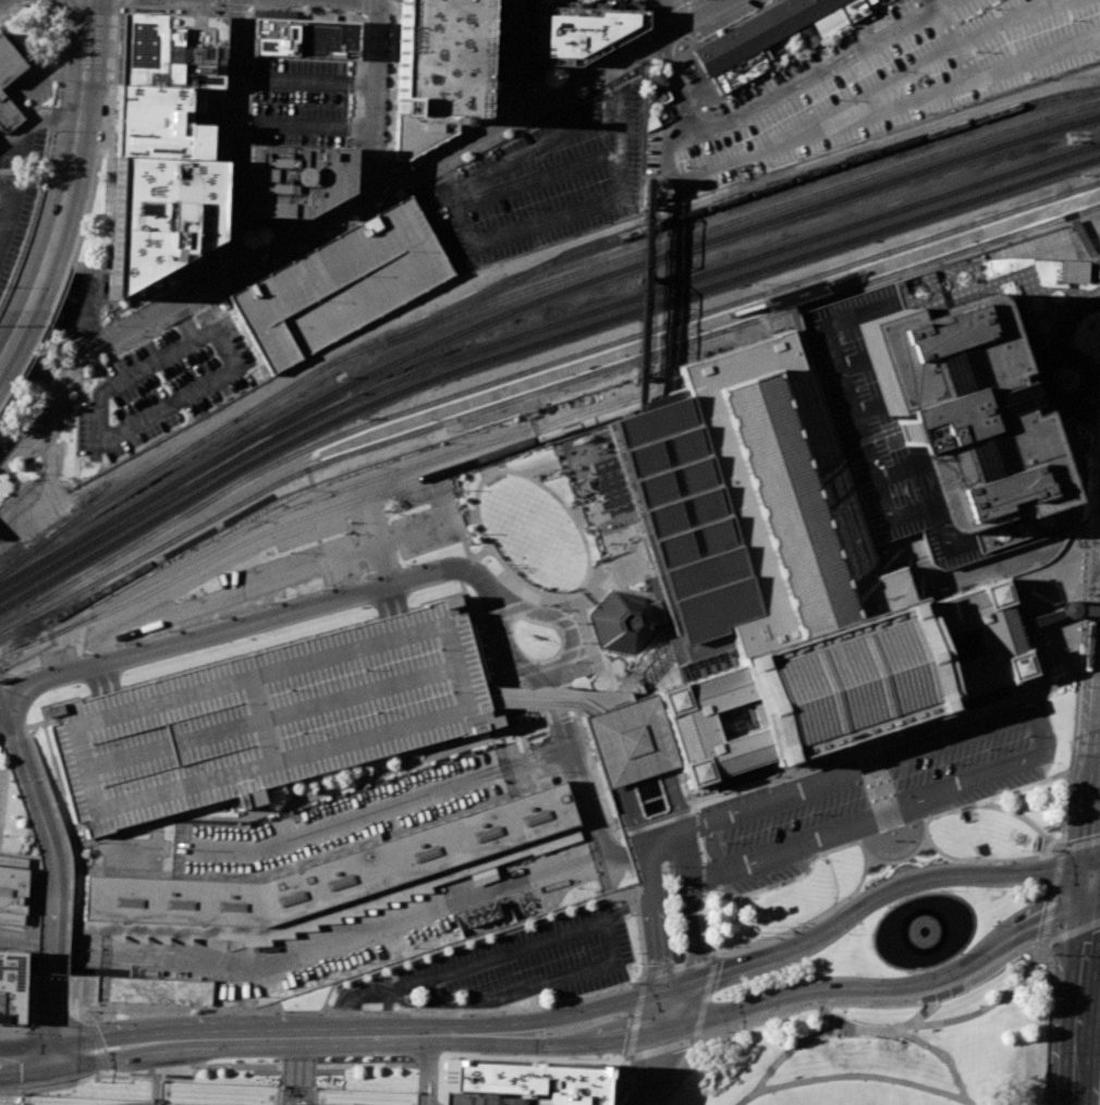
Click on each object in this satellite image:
road: (363, 0)
road: (26, 1)
road: (60, 1)
road: (27, 2)
street lamp: (127, 3)
road: (694, 3)
road: (120, 4)
road: (224, 4)
road: (171, 7)
street lamp: (213, 8)
road: (236, 8)
road: (364, 8)
street lamp: (993, 9)
road: (306, 12)
street lamp: (350, 13)
street lamp: (117, 14)
street lamp: (249, 15)
road: (667, 15)
road: (668, 16)
parking lot: (725, 19)
street lamp: (1071, 20)
street lamp: (225, 21)
building: (828, 21)
road: (877, 22)
road: (681, 23)
street lamp: (394, 25)
road: (878, 29)
street lamp: (367, 30)
building: (582, 33)
road: (883, 33)
street lamp: (641, 37)
building: (759, 38)
road: (952, 38)
building: (305, 40)
road: (647, 42)
road: (834, 46)
road: (660, 50)
street lamp: (974, 51)
building: (169, 52)
road: (604, 52)
road: (835, 52)
road: (818, 54)
street lamp: (393, 56)
road: (518, 56)
road: (842, 57)
street lamp: (1098, 58)
road: (819, 61)
building: (10, 63)
street lamp: (249, 63)
street lamp: (649, 63)
road: (826, 65)
building: (438, 72)
street lamp: (1028, 77)
road: (674, 82)
street lamp: (223, 83)
street lamp: (392, 84)
street lamp: (551, 84)
parking lot: (870, 84)
road: (953, 84)
street lamp: (589, 86)
street lamp: (248, 88)
road: (392, 89)
road: (527, 95)
road: (378, 96)
street lamp: (570, 97)
road: (57, 99)
road: (360, 102)
parking lot: (302, 105)
road: (81, 107)
street lamp: (363, 107)
street lamp: (247, 112)
street lamp: (391, 112)
street lamp: (910, 112)
building: (8, 113)
street lamp: (537, 115)
road: (512, 116)
road: (35, 118)
chimney: (445, 118)
road: (641, 119)
street lamp: (523, 122)
building: (160, 124)
street lamp: (479, 125)
street lamp: (51, 130)
road: (233, 136)
road: (450, 138)
street lamp: (493, 139)
road: (102, 142)
street lamp: (389, 142)
street lamp: (241, 146)
street lamp: (475, 150)
street lamp: (455, 160)
road: (398, 162)
street lamp: (411, 163)
street lamp: (219, 168)
street lamp: (241, 168)
street lamp: (363, 170)
road: (698, 173)
street lamp: (1099, 174)
helipad: (297, 176)
building: (295, 179)
road: (375, 179)
road: (398, 180)
street lamp: (417, 184)
building: (649, 191)
street lamp: (240, 195)
railway: (736, 197)
street lamp: (1090, 198)
road: (106, 199)
road: (362, 199)
street lamp: (390, 200)
road: (353, 205)
railway: (1003, 208)
street lamp: (364, 213)
street lamp: (88, 216)
building: (159, 218)
road: (300, 220)
street lamp: (304, 220)
road: (272, 224)
street lamp: (346, 224)
road: (10, 228)
street lamp: (241, 236)
street lamp: (321, 237)
street lamp: (219, 241)
street lamp: (954, 245)
road: (21, 249)
road: (1047, 251)
street lamp: (289, 255)
railway: (939, 258)
road: (229, 260)
road: (247, 262)
street lamp: (267, 267)
building: (1068, 271)
street lamp: (203, 277)
street lamp: (1096, 279)
road: (233, 282)
building: (343, 285)
parking lot: (343, 285)
street lamp: (4, 286)
road: (35, 287)
railway: (526, 288)
street lamp: (210, 298)
parking lot: (85, 302)
railway: (529, 303)
road: (1061, 307)
road: (633, 309)
road: (86, 317)
road: (183, 320)
street lamp: (162, 324)
street lamp: (118, 326)
railway: (533, 330)
street lamp: (139, 336)
road: (88, 337)
road: (37, 342)
railway: (533, 343)
street lamp: (117, 349)
street lamp: (213, 354)
road: (1053, 357)
road: (1043, 364)
railway: (534, 368)
road: (33, 373)
street lamp: (162, 383)
parking lot: (161, 385)
street lamp: (47, 396)
road: (847, 400)
street lamp: (5, 401)
building: (955, 410)
street lamp: (111, 414)
road: (133, 423)
street lamp: (1092, 433)
road: (1056, 438)
building: (880, 441)
parking garage: (880, 441)
street lamp: (1, 444)
railway: (377, 444)
railway: (317, 451)
road: (10, 453)
road: (563, 458)
road: (537, 467)
street lamp: (530, 476)
railway: (351, 487)
road: (477, 490)
road: (400, 492)
railway: (1093, 495)
road: (608, 496)
railway: (334, 506)
street lamp: (398, 515)
parking lot: (420, 517)
road: (572, 517)
street lamp: (583, 529)
street lamp: (464, 531)
street lamp: (342, 533)
road: (486, 544)
road: (491, 544)
road: (246, 548)
road: (583, 548)
street lamp: (288, 551)
road: (472, 557)
street lamp: (405, 564)
street lamp: (508, 565)
street lamp: (590, 567)
parking lot: (293, 569)
railway: (1091, 569)
street lamp: (229, 570)
road: (466, 570)
road: (1083, 574)
street lamp: (360, 576)
road: (610, 577)
road: (273, 579)
road: (394, 584)
street lamp: (537, 587)
street lamp: (316, 589)
building: (775, 589)
road: (400, 597)
street lamp: (175, 600)
road: (576, 600)
street lamp: (265, 603)
road: (377, 603)
street lamp: (539, 604)
street lamp: (559, 610)
road: (1056, 612)
street lamp: (215, 616)
railway: (1081, 618)
road: (561, 621)
building: (624, 621)
street lamp: (574, 622)
street lamp: (163, 630)
street lamp: (579, 641)
street lamp: (119, 643)
road: (580, 653)
street lamp: (78, 654)
railway: (1084, 656)
road: (1059, 660)
street lamp: (573, 662)
street lamp: (32, 666)
road: (1038, 666)
road: (489, 674)
road: (112, 677)
road: (94, 683)
road: (510, 692)
road: (550, 692)
road: (582, 693)
street lamp: (1006, 698)
road: (572, 709)
road: (609, 709)
road: (558, 713)
street lamp: (954, 715)
building: (267, 717)
parking lot: (270, 717)
road: (623, 720)
road: (5, 721)
road: (954, 722)
road: (1038, 729)
street lamp: (528, 734)
road: (912, 735)
street lamp: (1025, 736)
road: (522, 738)
street lamp: (1073, 741)
street lamp: (986, 749)
road: (541, 750)
road: (543, 758)
road: (528, 759)
street lamp: (437, 763)
street lamp: (941, 763)
road: (868, 764)
road: (817, 766)
street lamp: (771, 775)
parking lot: (1, 779)
street lamp: (9, 781)
road: (812, 785)
street lamp: (1046, 786)
road: (1022, 787)
road: (29, 789)
road: (320, 791)
street lamp: (353, 791)
street lamp: (719, 793)
parking lot: (865, 796)
street lamp: (1010, 797)
road: (879, 798)
road: (671, 800)
street lamp: (1065, 808)
road: (631, 812)
parking lot: (359, 813)
street lamp: (808, 813)
road: (885, 813)
street lamp: (958, 813)
street lamp: (277, 817)
road: (355, 817)
road: (687, 817)
road: (180, 818)
road: (926, 818)
street lamp: (190, 823)
road: (1097, 825)
road: (618, 826)
street lamp: (767, 827)
road: (673, 830)
road: (831, 830)
street lamp: (139, 831)
street lamp: (722, 842)
road: (1079, 844)
road: (708, 846)
street lamp: (973, 846)
road: (916, 847)
street lamp: (1019, 849)
road: (679, 857)
street lamp: (819, 858)
road: (979, 859)
road: (899, 860)
road: (1097, 861)
road: (616, 862)
traffic signals: (1095, 862)
street lamp: (663, 864)
building: (334, 870)
road: (1038, 872)
road: (702, 875)
road: (1092, 882)
street lamp: (1035, 885)
building: (10, 889)
street lamp: (939, 889)
street lamp: (985, 889)
road: (702, 894)
street lamp: (832, 896)
street lamp: (1031, 897)
road: (1050, 897)
railway: (1077, 899)
road: (1095, 901)
traffic signals: (1090, 903)
road: (52, 907)
street lamp: (887, 907)
street lamp: (631, 913)
building: (480, 914)
road: (652, 916)
railway: (1065, 917)
street lamp: (795, 922)
flagpole: (763, 925)
street lamp: (991, 925)
road: (829, 931)
flagpole: (750, 932)
fountain: (926, 932)
road: (1070, 933)
street lamp: (847, 934)
street lamp: (759, 935)
road: (472, 937)
flagpole: (738, 937)
road: (538, 938)
road: (688, 938)
street lamp: (721, 946)
road: (738, 948)
road: (306, 949)
street lamp: (580, 949)
street lamp: (1047, 953)
street lamp: (960, 954)
road: (714, 955)
parking lot: (533, 960)
street lamp: (637, 962)
road: (712, 963)
street lamp: (797, 963)
street lamp: (517, 970)
street lamp: (908, 972)
street lamp: (856, 973)
road: (641, 975)
street lamp: (800, 977)
road: (548, 983)
road: (405, 984)
building: (12, 987)
traffic signals: (674, 989)
road: (888, 989)
road: (430, 992)
street lamp: (718, 992)
street lamp: (453, 996)
road: (349, 998)
street lamp: (721, 999)
road: (839, 1002)
road: (1084, 1003)
road: (411, 1004)
road: (987, 1007)
road: (672, 1009)
street lamp: (86, 1010)
street lamp: (279, 1010)
street lamp: (371, 1010)
road: (378, 1010)
street lamp: (186, 1012)
road: (417, 1012)
road: (573, 1014)
road: (925, 1014)
road: (386, 1015)
road: (394, 1015)
street lamp: (612, 1016)
road: (29, 1017)
road: (50, 1017)
road: (635, 1017)
road: (89, 1021)
street lamp: (94, 1021)
road: (1050, 1023)
street lamp: (17, 1031)
traffic signals: (671, 1031)
road: (899, 1032)
road: (234, 1038)
road: (704, 1041)
road: (800, 1042)
road: (571, 1044)
road: (98, 1046)
park: (885, 1048)
road: (660, 1049)
street lamp: (1050, 1052)
road: (692, 1053)
road: (1090, 1055)
traffic signals: (59, 1056)
street lamp: (371, 1057)
road: (512, 1057)
street lamp: (277, 1058)
railway: (1097, 1061)
street lamp: (186, 1066)
road: (200, 1068)
road: (660, 1069)
street lamp: (682, 1069)
road: (297, 1070)
road: (107, 1071)
road: (850, 1076)
road: (628, 1082)
building: (520, 1085)
street lamp: (17, 1090)
road: (969, 1102)

